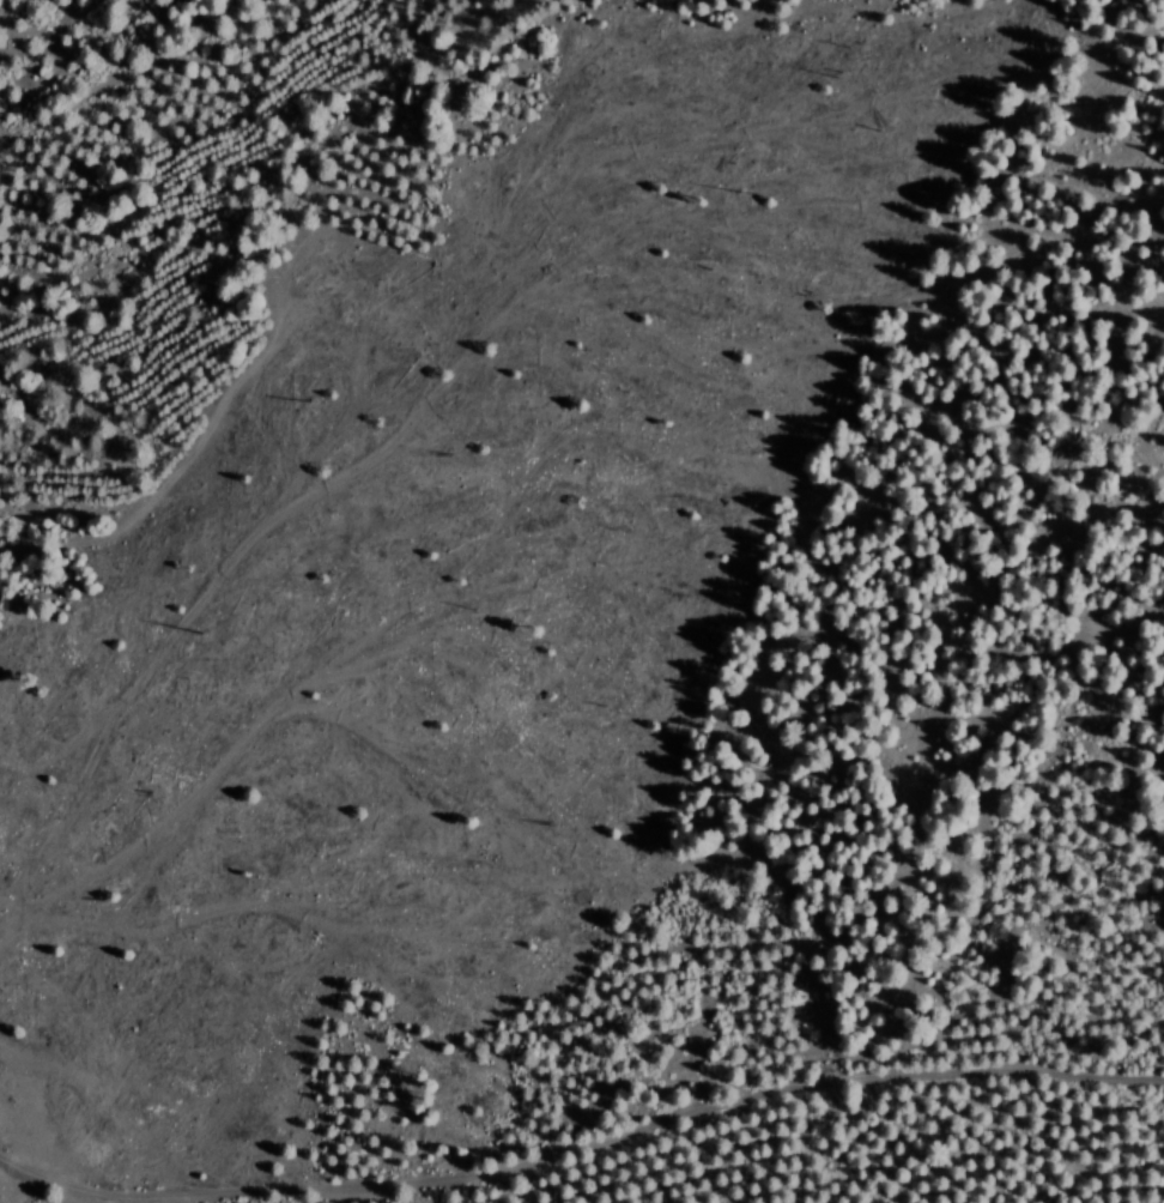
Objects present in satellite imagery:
road: (156, 85)
road: (577, 1139)

